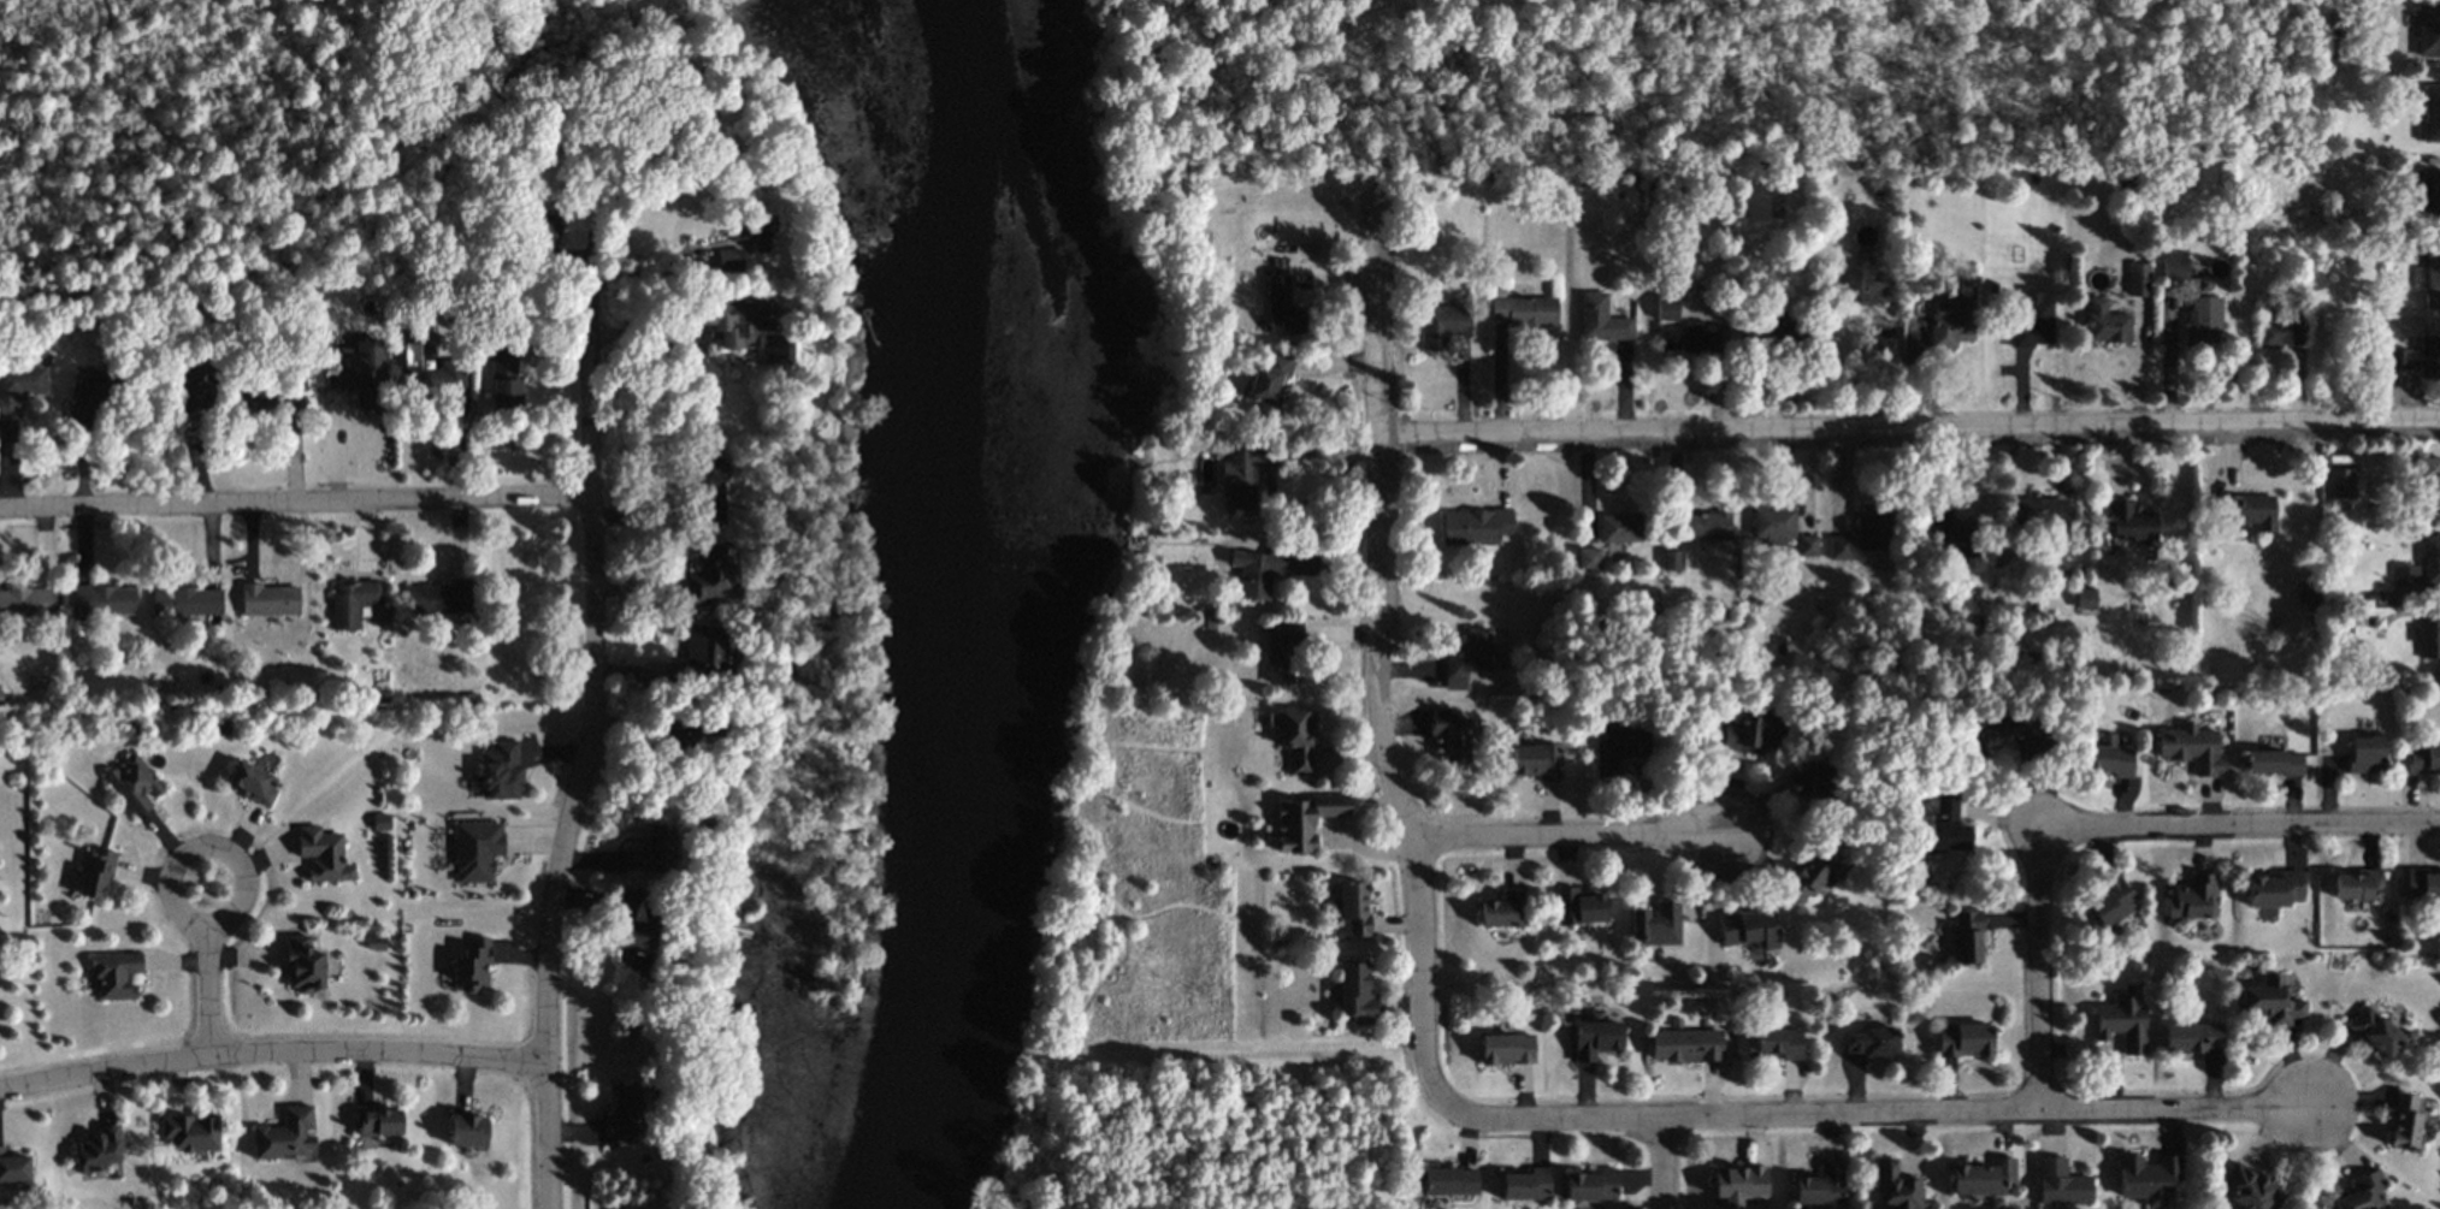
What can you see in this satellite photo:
road: (1235, 11)
road: (1093, 24)
road: (1584, 29)
building: (2428, 29)
road: (1136, 30)
building: (2429, 114)
building: (2428, 192)
building: (544, 226)
building: (750, 231)
building: (729, 260)
building: (2174, 265)
building: (2138, 279)
building: (2430, 279)
building: (1862, 285)
building: (1667, 307)
building: (1282, 308)
building: (1525, 310)
building: (732, 320)
building: (1602, 320)
building: (2203, 320)
building: (1950, 321)
building: (2033, 321)
building: (2105, 322)
building: (1442, 325)
building: (2281, 331)
building: (1770, 334)
building: (1688, 339)
building: (2418, 357)
building: (356, 373)
building: (503, 377)
building: (1269, 378)
building: (436, 384)
building: (19, 387)
building: (193, 393)
building: (89, 396)
road: (1904, 431)
building: (1241, 475)
building: (2340, 482)
building: (2428, 484)
building: (707, 491)
road: (295, 502)
building: (2249, 510)
building: (2037, 514)
building: (2132, 523)
building: (1773, 525)
building: (1475, 526)
building: (1707, 526)
building: (1873, 527)
building: (1620, 528)
building: (1948, 531)
building: (1807, 545)
building: (1841, 547)
building: (1589, 558)
building: (1672, 559)
building: (2421, 565)
building: (1257, 571)
building: (711, 575)
building: (439, 598)
building: (2085, 598)
building: (270, 599)
building: (104, 600)
building: (184, 601)
building: (26, 603)
building: (351, 603)
river: (985, 606)
building: (2427, 636)
road: (1370, 644)
building: (708, 651)
building: (1281, 653)
building: (1469, 657)
building: (1449, 734)
building: (1750, 734)
building: (1985, 734)
road: (590, 736)
building: (1298, 740)
building: (2192, 748)
building: (1618, 749)
building: (2365, 754)
building: (2108, 757)
building: (2423, 758)
building: (1536, 761)
building: (2273, 763)
building: (501, 771)
building: (252, 782)
building: (1813, 783)
building: (134, 784)
building: (1304, 820)
building: (380, 822)
building: (1946, 823)
road: (2246, 828)
road: (1567, 836)
building: (477, 851)
building: (654, 851)
building: (323, 854)
road: (178, 860)
building: (96, 872)
building: (1807, 877)
building: (2357, 884)
building: (2422, 884)
building: (2274, 889)
building: (2193, 897)
building: (2111, 902)
building: (1579, 906)
building: (1351, 908)
building: (1502, 909)
building: (1655, 924)
building: (1749, 930)
building: (636, 931)
building: (1967, 936)
building: (376, 942)
building: (303, 965)
building: (473, 965)
building: (114, 974)
road: (2039, 976)
road: (209, 988)
building: (1355, 994)
building: (2270, 1002)
building: (2123, 1020)
building: (2375, 1031)
building: (2191, 1037)
building: (1595, 1038)
building: (1963, 1039)
building: (1779, 1042)
building: (1872, 1042)
building: (1686, 1045)
building: (1506, 1048)
road: (272, 1053)
road: (1872, 1114)
building: (624, 1115)
building: (377, 1121)
building: (2404, 1121)
building: (467, 1130)
building: (190, 1132)
building: (285, 1134)
building: (99, 1148)
road: (1664, 1163)
building: (12, 1168)
building: (1983, 1177)
building: (2147, 1179)
building: (1449, 1181)
building: (1739, 1183)
building: (2061, 1183)
building: (1525, 1185)
building: (1591, 1185)
building: (1820, 1186)
building: (1896, 1186)
building: (2251, 1189)
building: (2363, 1193)

